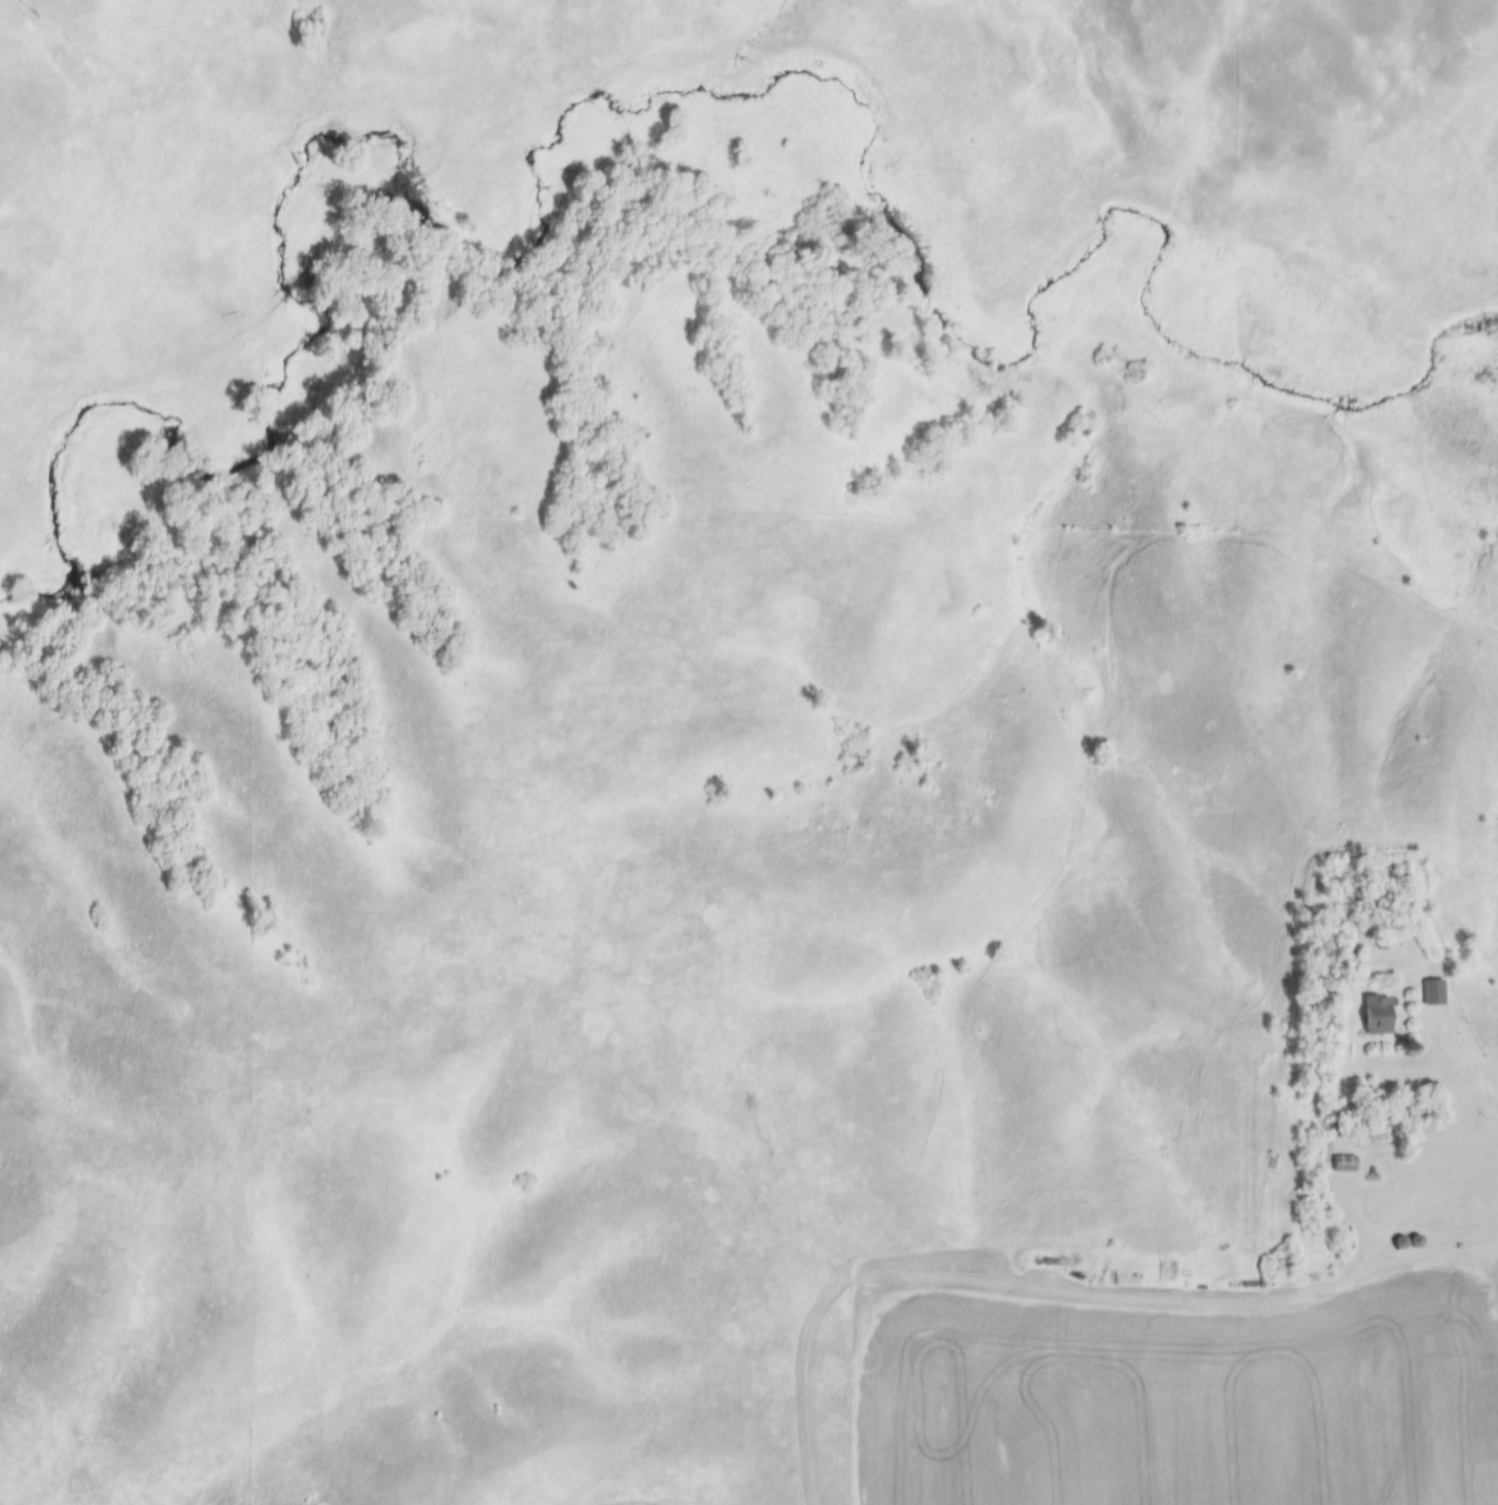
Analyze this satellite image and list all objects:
building: (1374, 942)
building: (1427, 991)
building: (1370, 1014)
road: (1467, 1022)
building: (1340, 1162)
building: (1415, 1242)
silo: (1415, 1242)
building: (1400, 1243)
silo: (1400, 1243)

